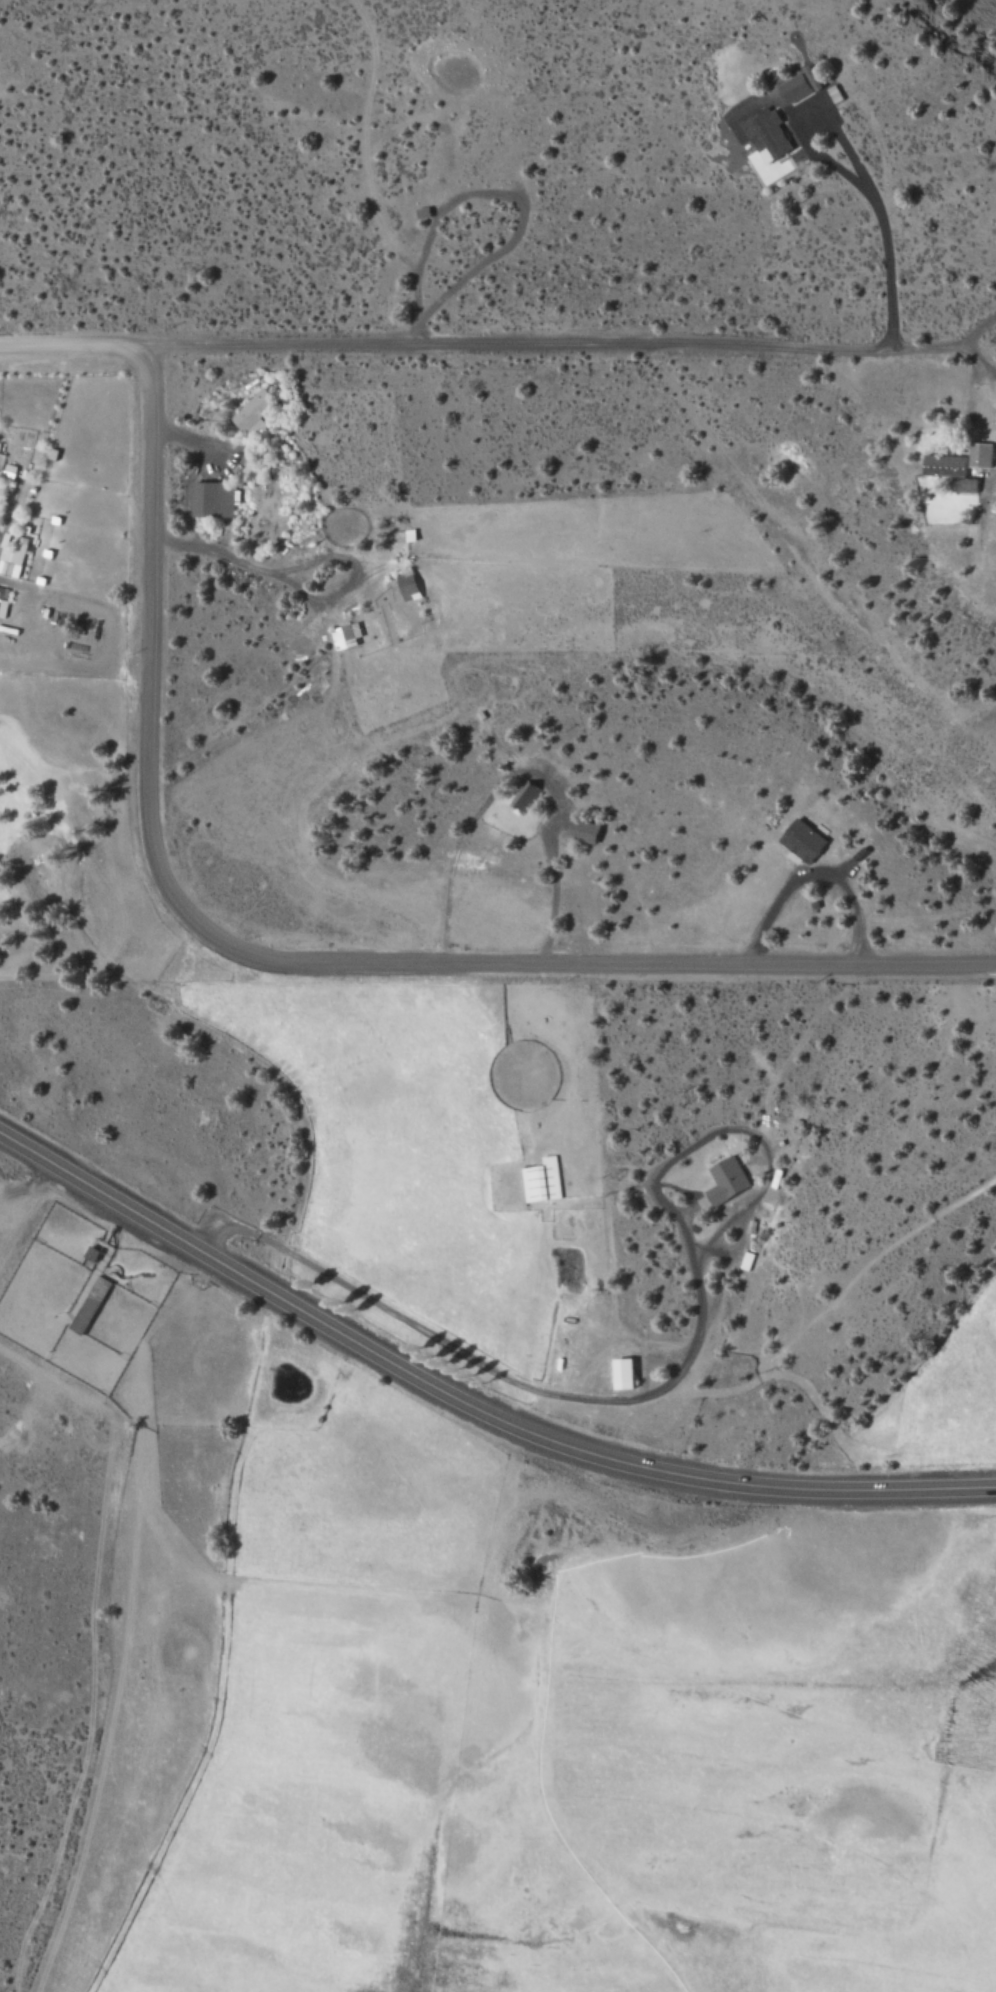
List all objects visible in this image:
building: (796, 87)
building: (767, 134)
road: (498, 343)
road: (993, 343)
building: (254, 413)
building: (962, 465)
building: (216, 499)
building: (12, 555)
building: (409, 586)
building: (3, 601)
building: (346, 636)
building: (805, 842)
road: (295, 960)
building: (728, 1180)
building: (542, 1181)
building: (90, 1305)
road: (677, 1370)
building: (627, 1374)
crop: (941, 1396)
road: (468, 1404)
crop: (507, 1714)

